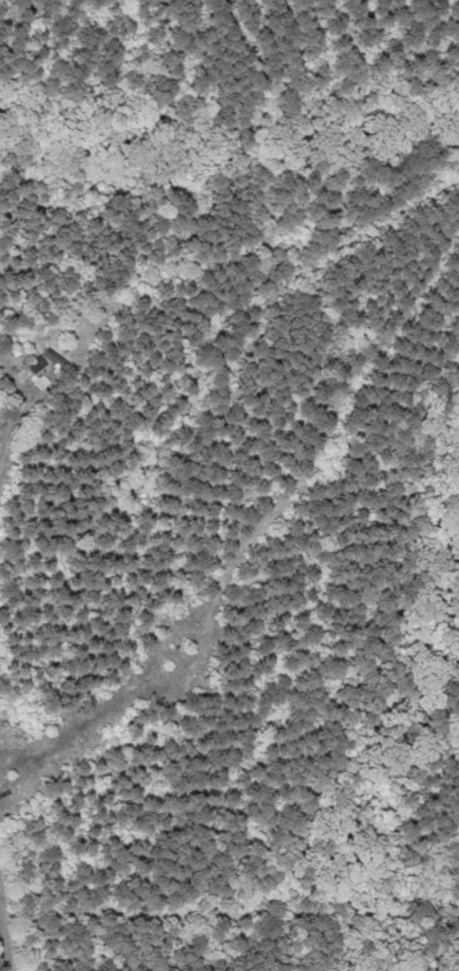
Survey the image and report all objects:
building: (46, 357)

